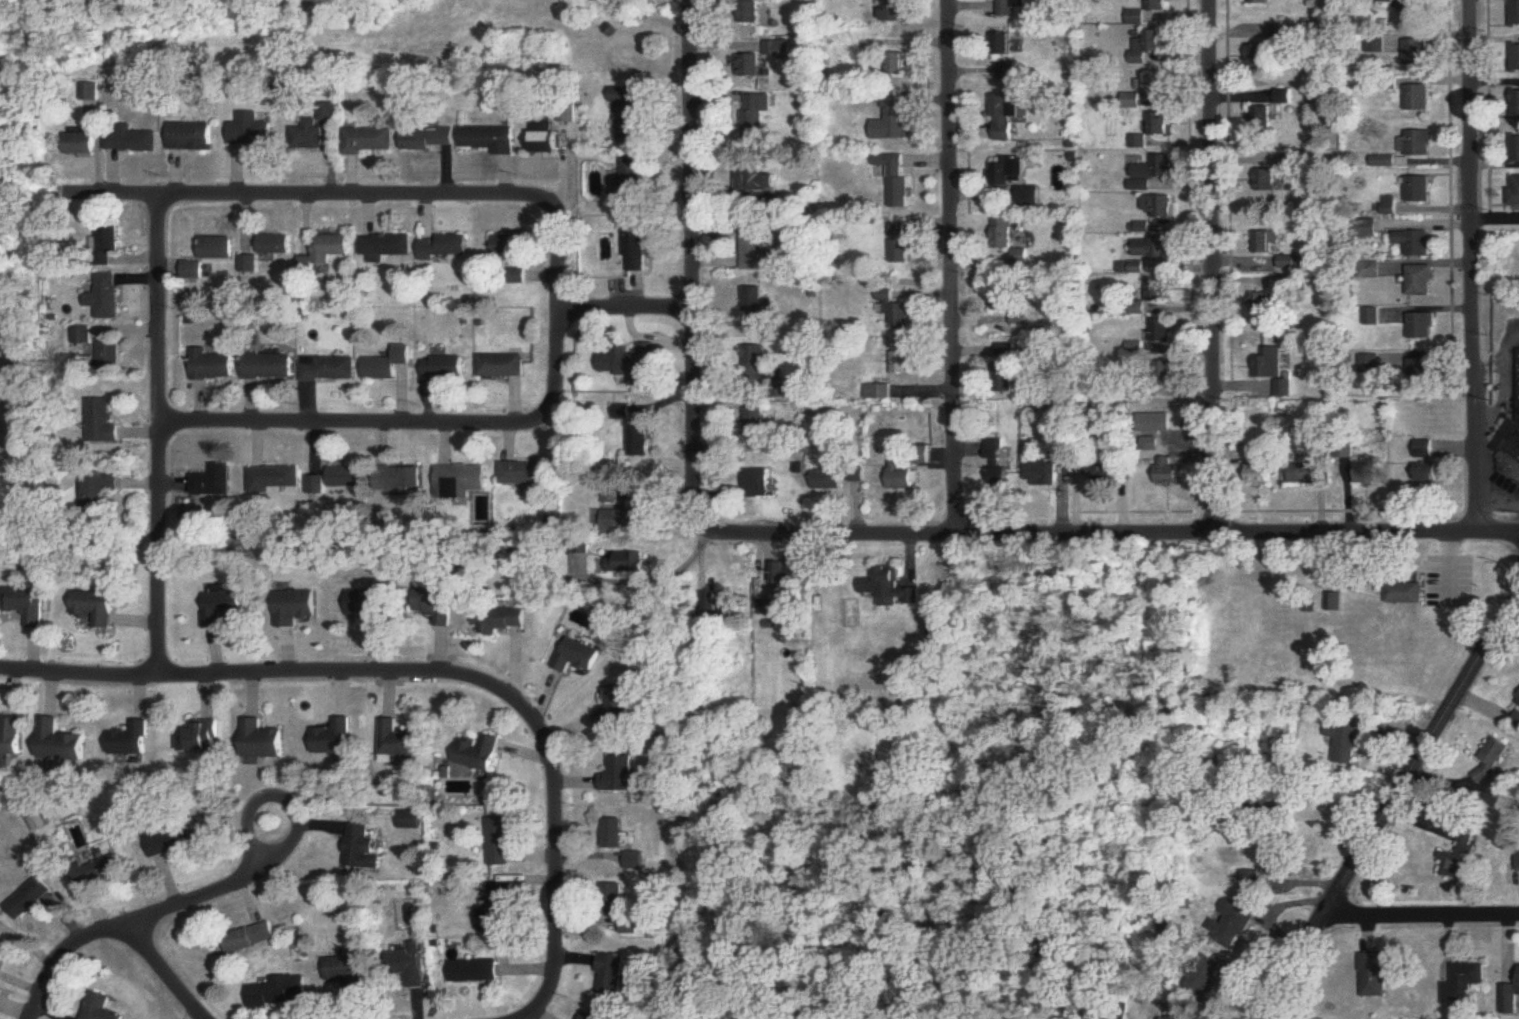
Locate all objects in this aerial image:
building: (1263, 2)
building: (1158, 6)
building: (1012, 8)
building: (902, 10)
building: (1415, 10)
building: (753, 12)
building: (1515, 14)
building: (1149, 46)
building: (1418, 53)
building: (1264, 55)
building: (1008, 57)
building: (1515, 60)
building: (900, 65)
building: (750, 66)
building: (1155, 85)
river: (53, 90)
building: (90, 94)
building: (1418, 98)
building: (1515, 104)
building: (1271, 111)
building: (632, 113)
building: (757, 113)
building: (1007, 115)
building: (896, 119)
building: (251, 132)
building: (1154, 133)
building: (309, 135)
building: (191, 137)
building: (545, 137)
building: (429, 138)
building: (489, 138)
building: (131, 140)
building: (369, 140)
building: (1418, 143)
building: (80, 144)
building: (1515, 149)
building: (1288, 161)
building: (1010, 171)
building: (1151, 172)
building: (632, 175)
building: (755, 179)
building: (898, 179)
building: (1266, 180)
building: (1419, 189)
building: (1515, 191)
road: (276, 196)
building: (1158, 207)
building: (1010, 238)
building: (1267, 242)
building: (1415, 243)
building: (106, 244)
building: (276, 245)
building: (387, 246)
building: (443, 246)
building: (510, 246)
building: (636, 247)
building: (330, 248)
building: (753, 248)
building: (218, 249)
building: (1153, 249)
building: (900, 251)
building: (1292, 263)
building: (249, 265)
road: (952, 267)
road: (1212, 268)
road: (1472, 268)
building: (518, 277)
building: (1421, 281)
building: (1157, 290)
building: (106, 298)
park: (11, 299)
building: (1005, 299)
building: (1261, 304)
road: (557, 306)
building: (755, 308)
road: (624, 310)
building: (898, 310)
building: (1421, 327)
building: (1161, 331)
building: (82, 337)
building: (1136, 349)
building: (109, 356)
building: (902, 363)
building: (754, 364)
building: (1270, 364)
building: (632, 365)
building: (1370, 365)
building: (212, 366)
building: (501, 366)
building: (269, 367)
building: (388, 367)
building: (1006, 368)
building: (328, 369)
building: (444, 369)
building: (1421, 372)
road: (1497, 373)
building: (1284, 389)
building: (878, 392)
building: (102, 422)
road: (348, 424)
road: (161, 438)
building: (640, 440)
building: (1423, 450)
building: (1510, 455)
building: (997, 463)
building: (1168, 472)
building: (1101, 473)
building: (1429, 473)
building: (527, 474)
building: (1041, 474)
building: (1302, 474)
building: (1259, 476)
building: (828, 477)
building: (345, 478)
building: (900, 478)
building: (461, 479)
building: (274, 480)
building: (400, 480)
building: (214, 483)
building: (757, 484)
building: (316, 486)
building: (100, 489)
road: (1498, 498)
building: (625, 521)
road: (846, 536)
building: (631, 563)
building: (784, 577)
building: (894, 587)
building: (1404, 594)
building: (28, 605)
building: (366, 605)
building: (436, 606)
building: (294, 607)
building: (96, 609)
building: (223, 609)
building: (718, 610)
building: (499, 620)
building: (577, 656)
road: (430, 668)
building: (616, 709)
building: (12, 737)
building: (201, 737)
building: (333, 738)
building: (261, 741)
building: (397, 741)
building: (61, 743)
building: (128, 743)
building: (1344, 743)
building: (477, 753)
building: (1491, 759)
building: (618, 776)
road: (1392, 806)
building: (408, 821)
building: (612, 835)
building: (168, 841)
building: (497, 842)
building: (357, 848)
building: (1457, 857)
building: (633, 862)
building: (99, 872)
building: (1249, 881)
building: (35, 897)
building: (613, 899)
building: (495, 910)
road: (164, 912)
road: (1422, 918)
building: (1232, 923)
building: (249, 939)
road: (29, 941)
building: (3, 948)
building: (406, 966)
road: (168, 972)
building: (344, 972)
building: (472, 972)
building: (611, 975)
building: (1199, 975)
building: (1375, 975)
building: (1466, 983)
building: (280, 993)
building: (1510, 999)
building: (99, 1008)
building: (1108, 1013)
building: (591, 1015)
building: (1173, 1015)

